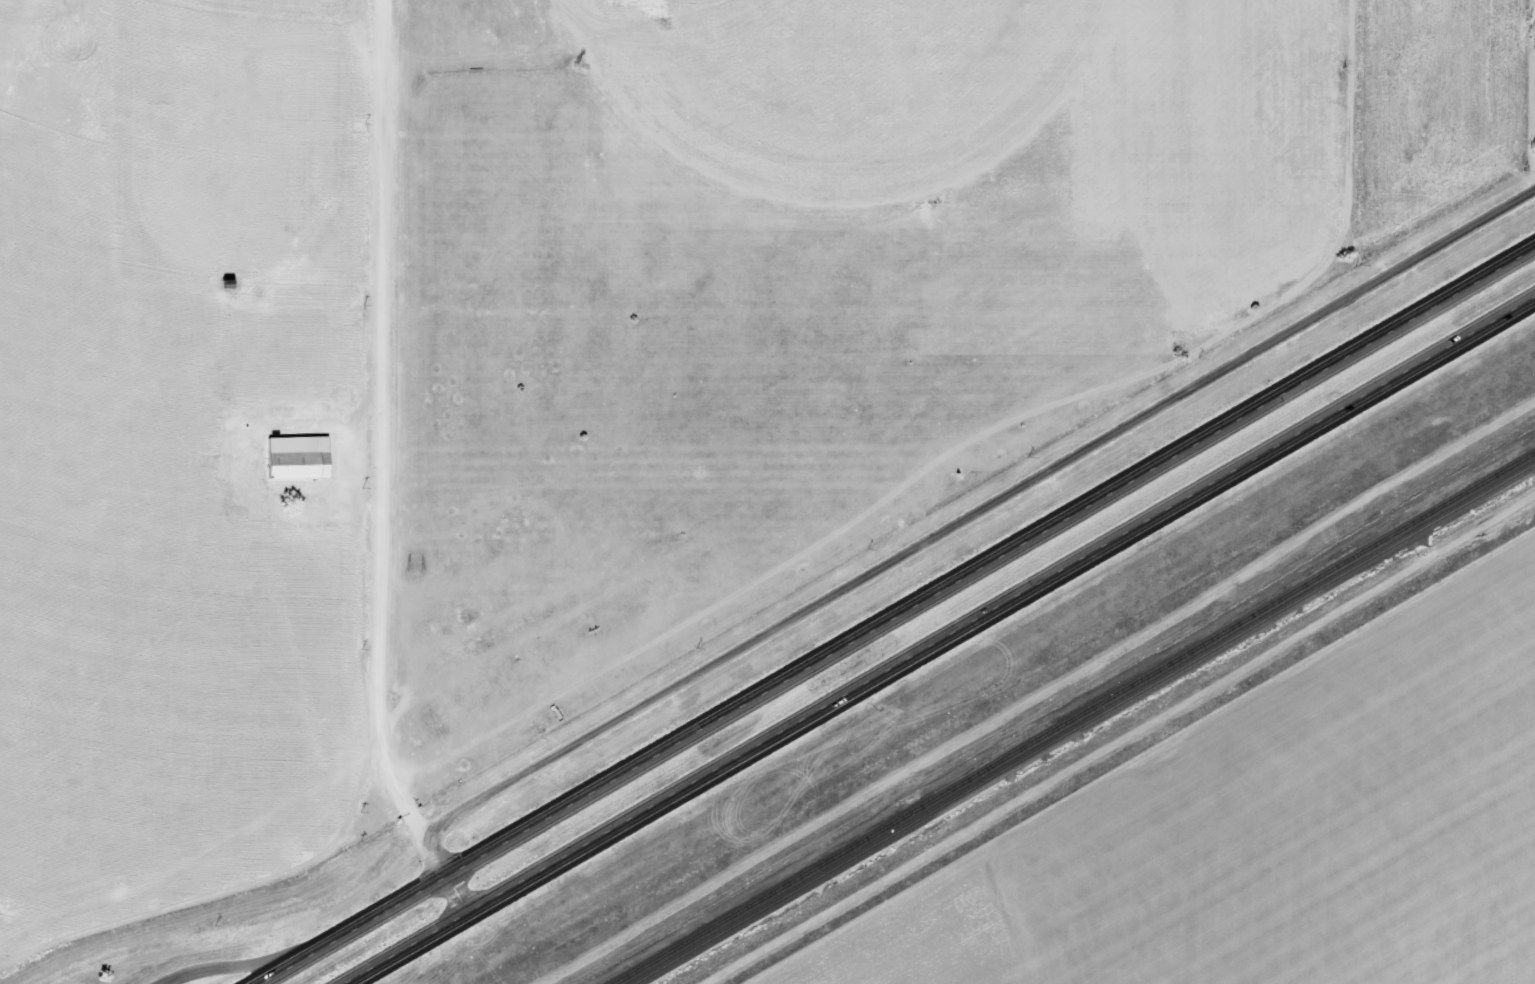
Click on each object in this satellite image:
road: (380, 444)
building: (301, 459)
road: (974, 512)
road: (895, 613)
road: (941, 641)
railway: (1075, 719)
railway: (1088, 725)
road: (226, 967)

